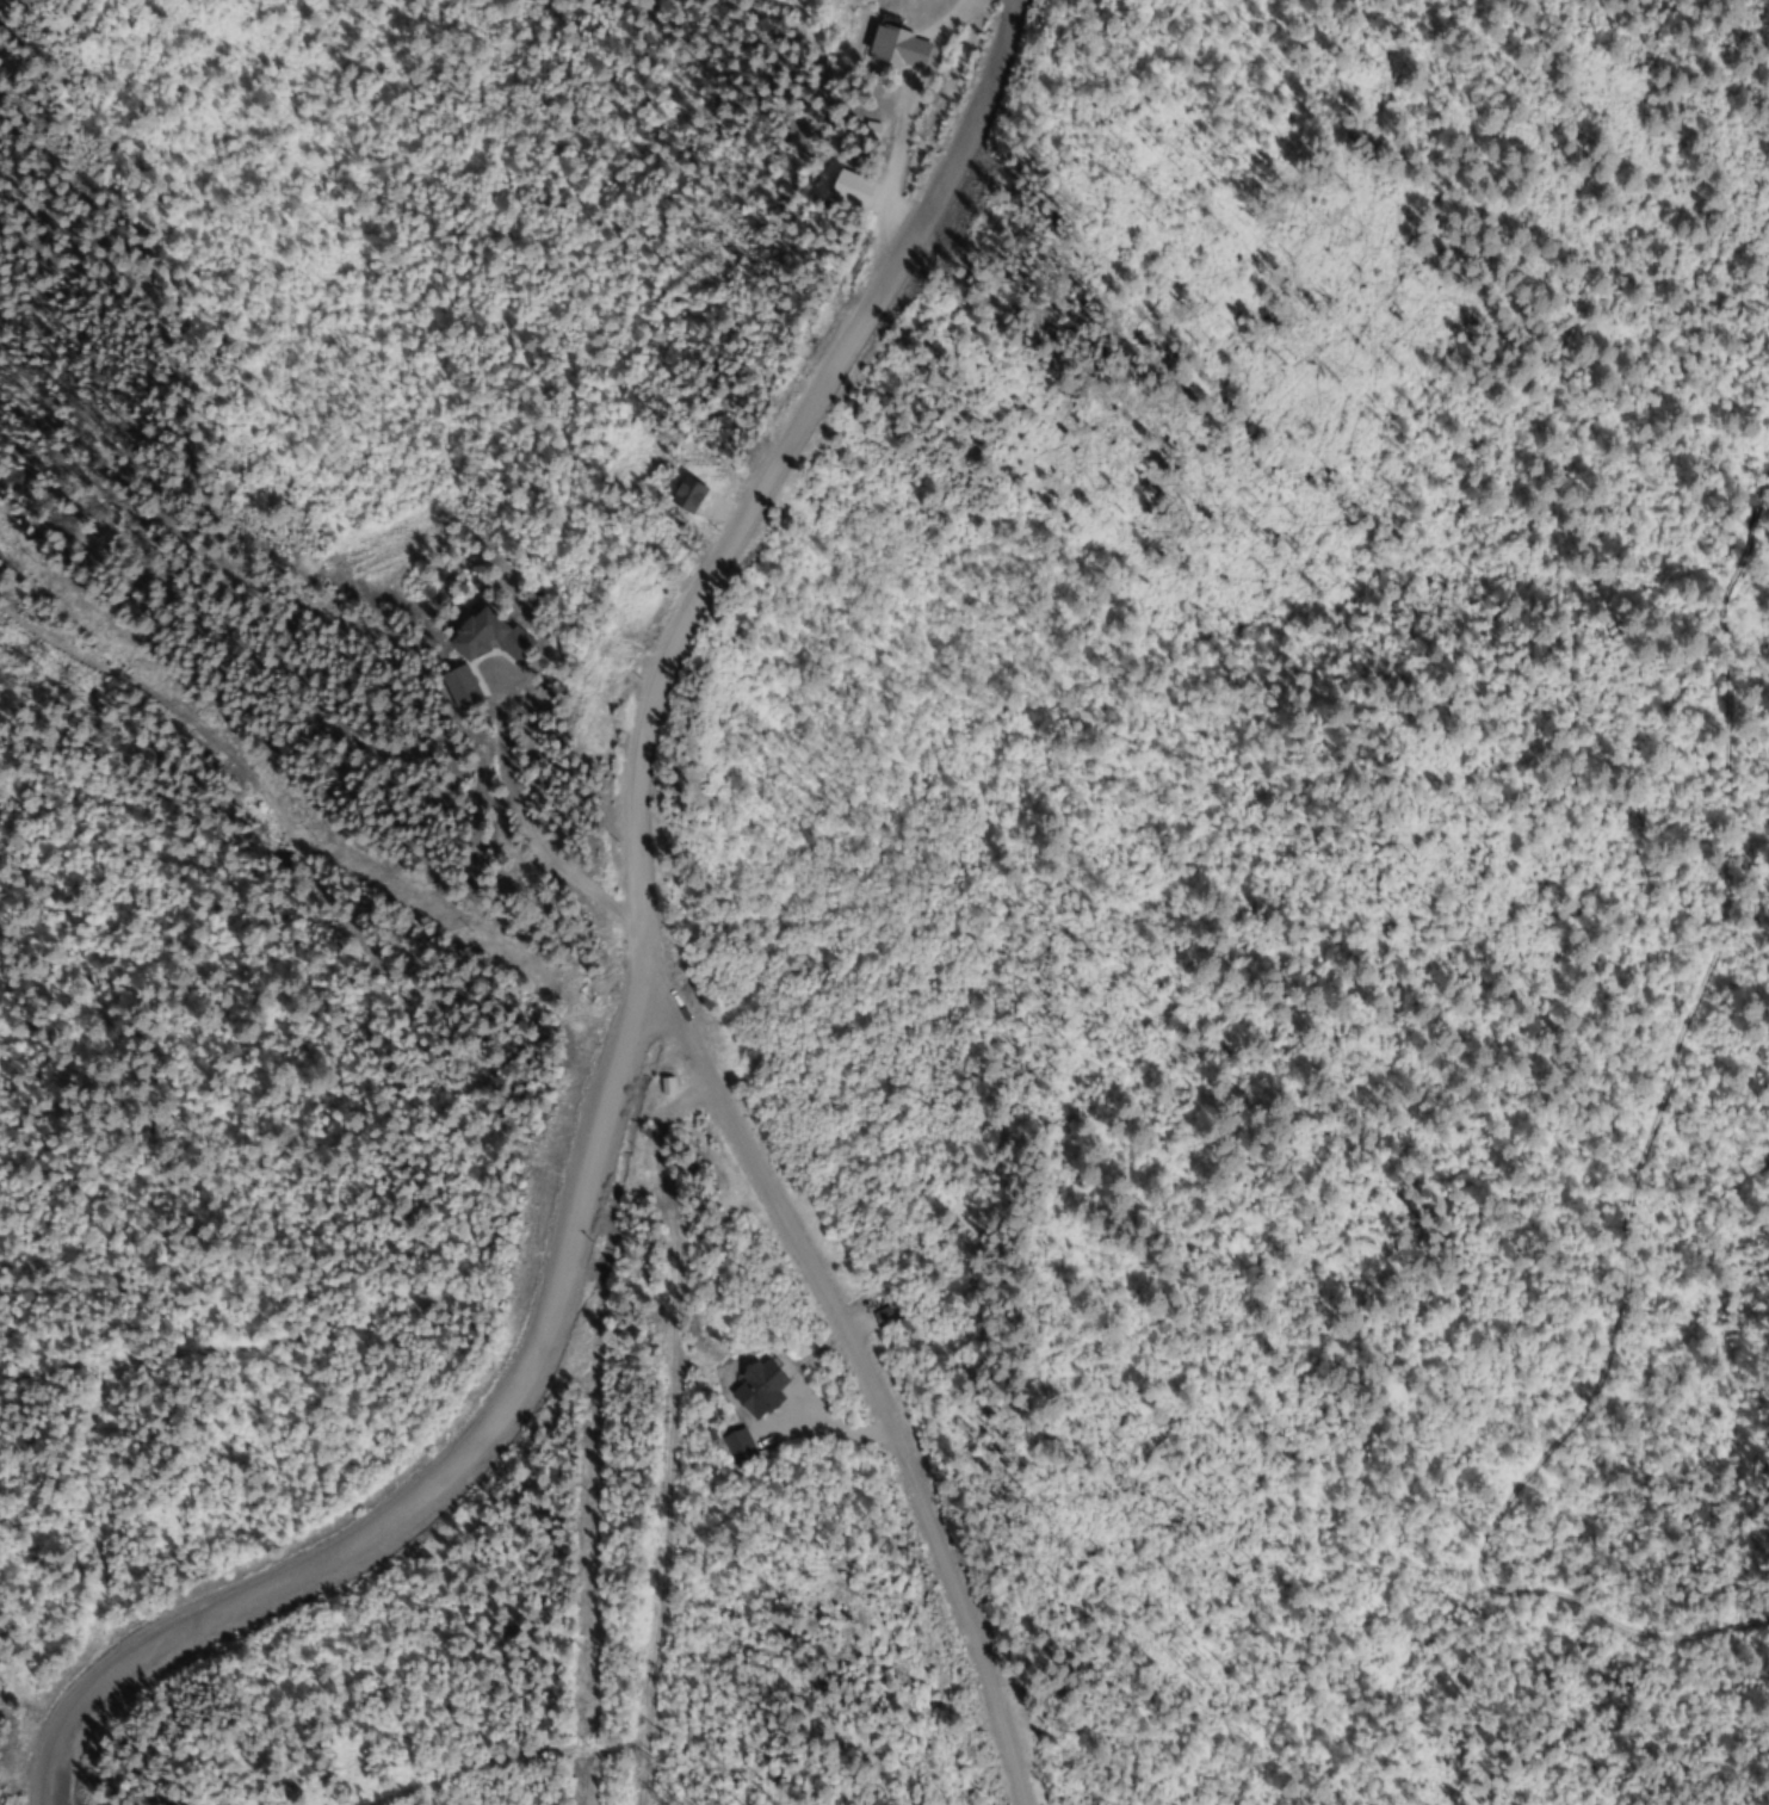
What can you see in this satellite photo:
building: (899, 49)
road: (908, 106)
building: (872, 132)
road: (528, 820)
road: (642, 895)
building: (668, 1086)
building: (760, 1390)
building: (738, 1446)
road: (445, 1479)

